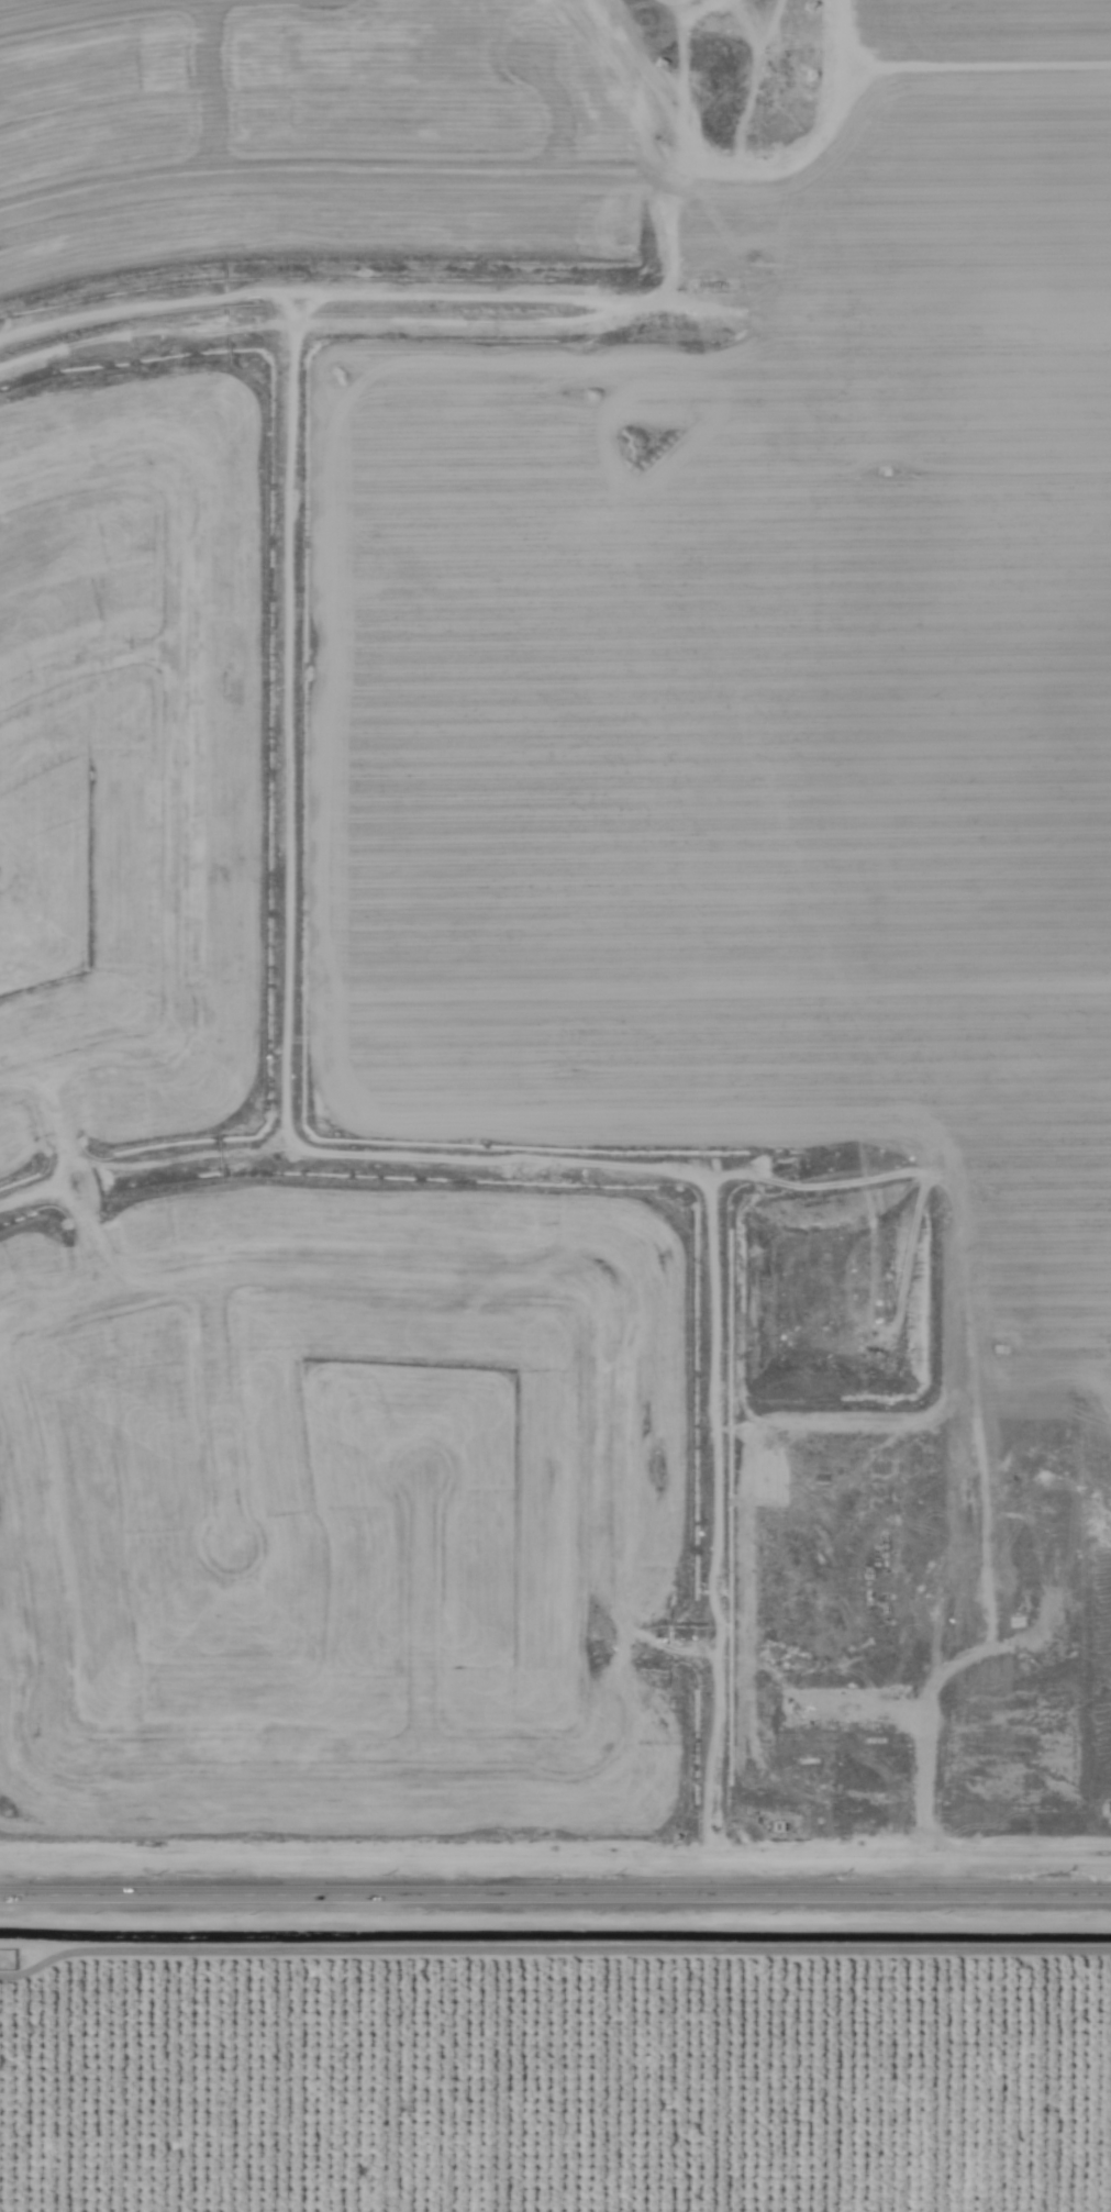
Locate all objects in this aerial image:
road: (555, 1894)

